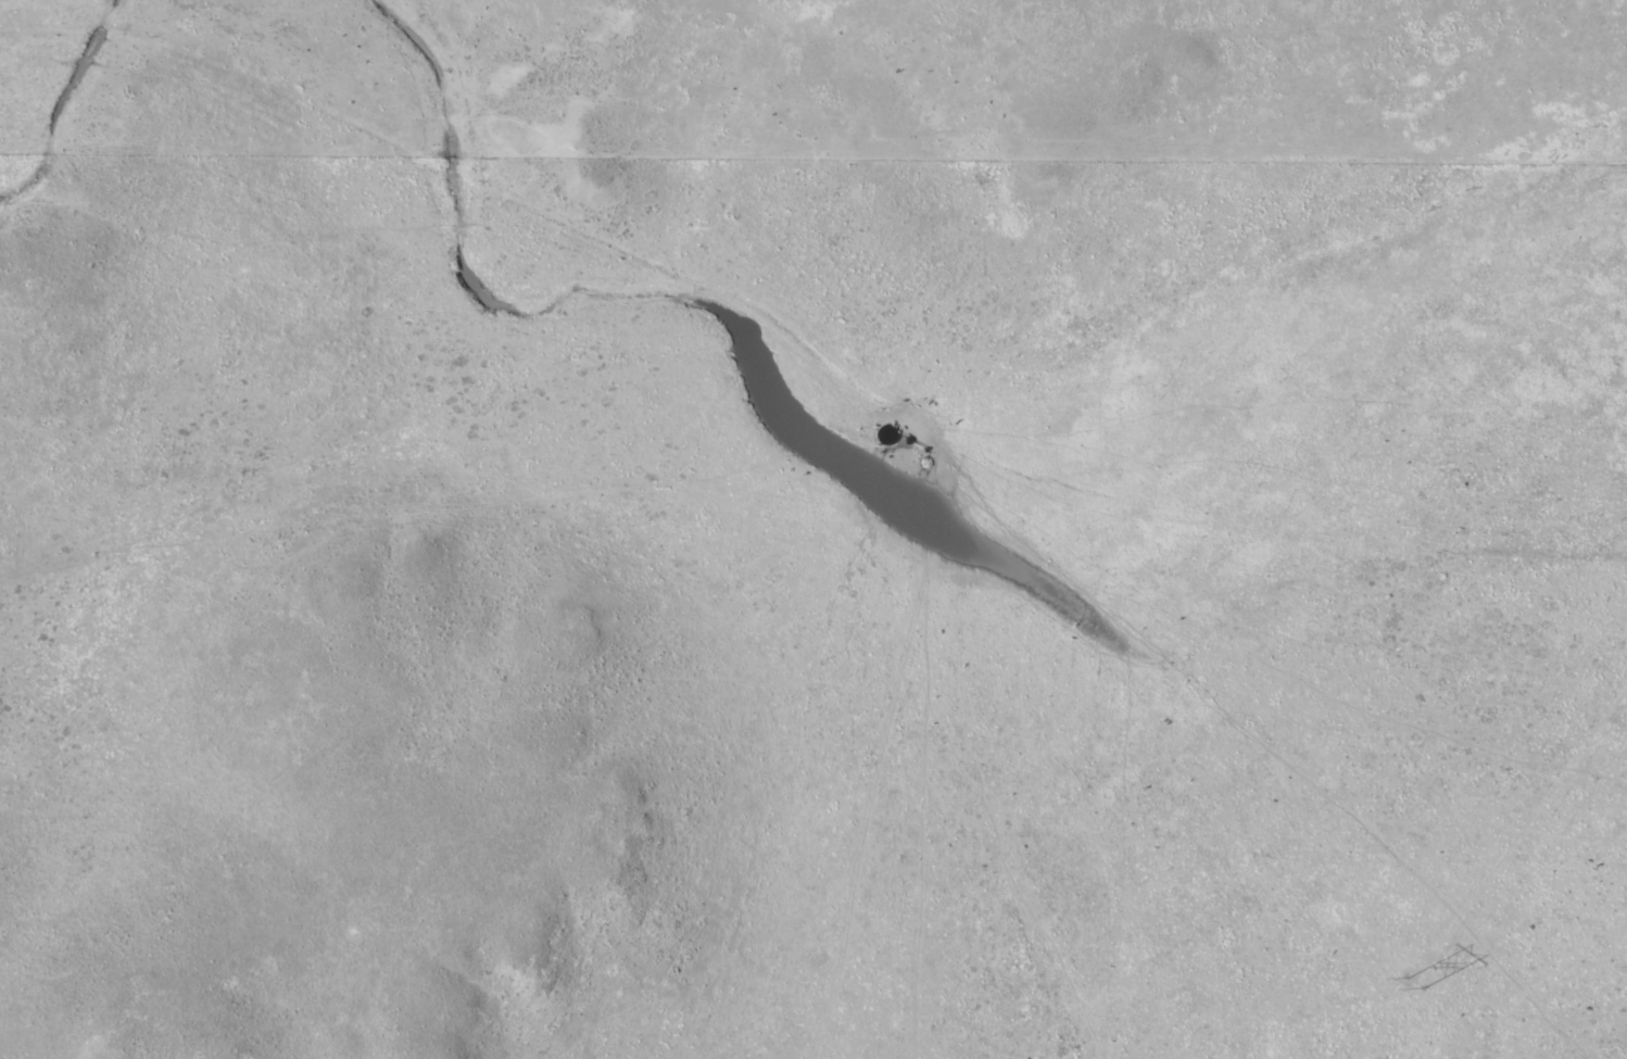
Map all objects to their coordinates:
power tower: (1402, 981)

